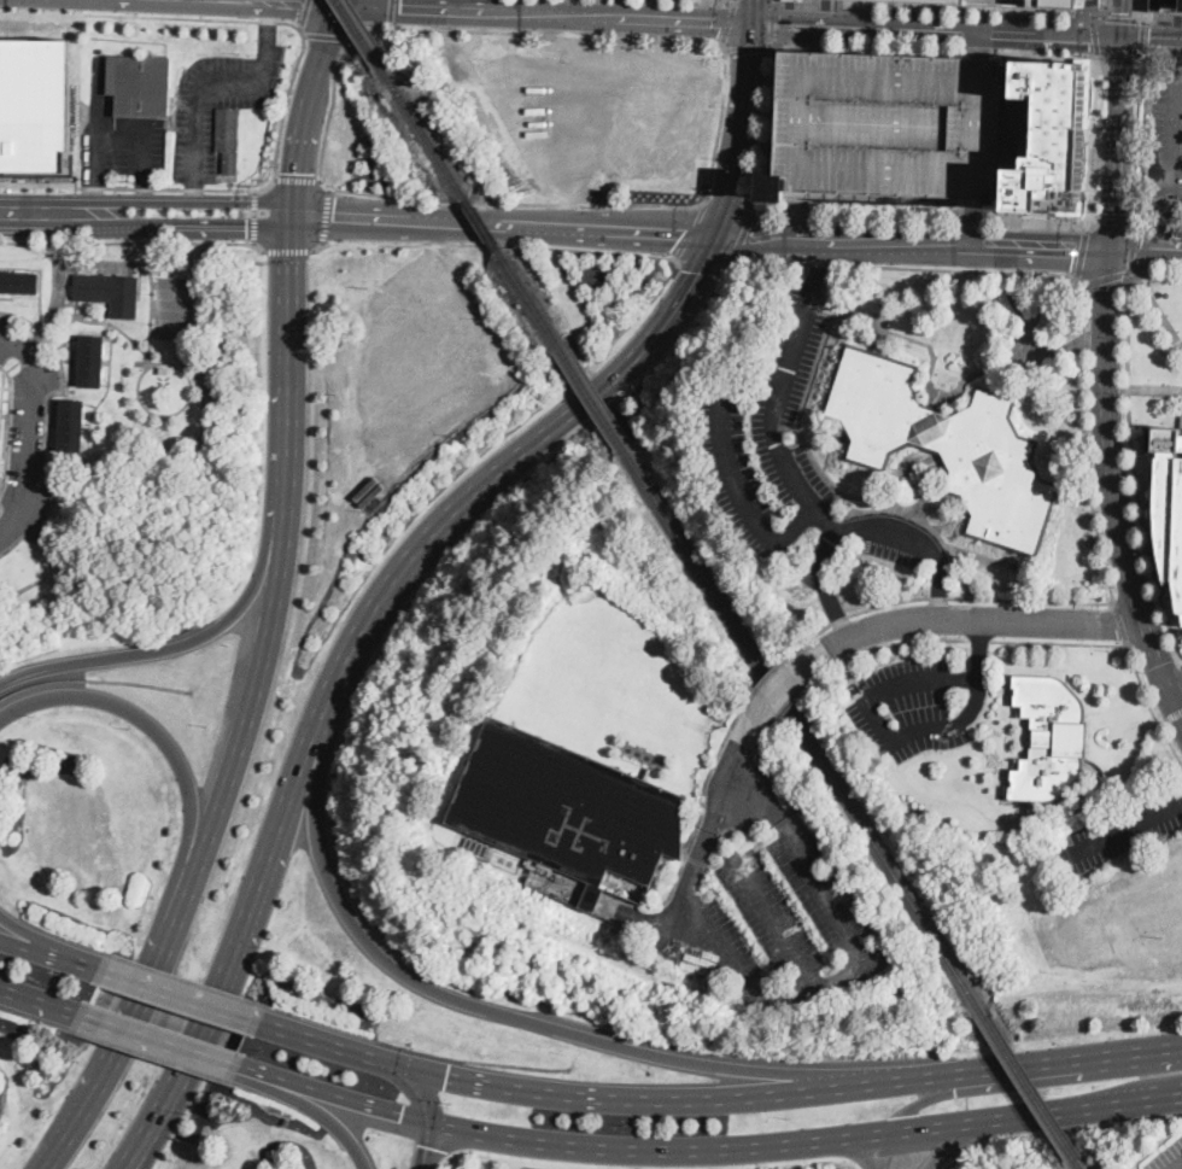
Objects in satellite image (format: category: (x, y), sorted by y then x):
building: (942, 0)
road: (735, 1)
building: (1018, 1)
road: (774, 2)
road: (252, 4)
road: (340, 4)
parking lot: (1165, 4)
building: (1166, 4)
traffic signals: (299, 6)
road: (447, 6)
traffic signals: (399, 10)
road: (941, 10)
road: (1098, 11)
traffic signals: (1124, 11)
road: (753, 12)
road: (1142, 12)
road: (391, 13)
road: (305, 14)
road: (545, 16)
road: (1119, 17)
road: (1157, 18)
road: (1123, 19)
road: (240, 21)
traffic signals: (721, 23)
road: (728, 23)
road: (774, 23)
road: (268, 25)
traffic signals: (780, 25)
road: (532, 31)
road: (937, 31)
railway: (362, 33)
road: (572, 33)
road: (326, 34)
road: (1095, 36)
road: (1142, 37)
traffic signals: (1089, 39)
road: (808, 40)
traffic signals: (1149, 41)
road: (1152, 41)
road: (749, 45)
road: (981, 47)
road: (940, 49)
traffic signals: (751, 51)
road: (1123, 58)
road: (1160, 58)
road: (1177, 72)
road: (203, 81)
building: (140, 86)
road: (727, 86)
road: (98, 92)
parking lot: (218, 103)
building: (35, 106)
parking lot: (590, 109)
road: (328, 111)
road: (305, 112)
road: (719, 121)
road: (768, 122)
road: (117, 128)
road: (743, 129)
railway: (425, 130)
building: (889, 130)
parking lot: (889, 130)
road: (1170, 131)
road: (1136, 136)
building: (228, 138)
building: (1053, 138)
road: (1095, 140)
parking lot: (1165, 141)
road: (1118, 145)
parking lot: (125, 148)
building: (1141, 159)
traffic signals: (297, 171)
road: (297, 179)
road: (128, 186)
road: (1175, 192)
road: (92, 198)
road: (194, 198)
road: (142, 199)
road: (726, 200)
road: (516, 203)
road: (583, 205)
road: (1148, 206)
traffic signals: (1114, 212)
road: (919, 215)
road: (70, 216)
road: (168, 217)
road: (256, 217)
road: (323, 217)
road: (242, 218)
traffic signals: (247, 220)
road: (797, 220)
traffic signals: (333, 221)
road: (1117, 221)
road: (399, 222)
road: (973, 222)
railway: (484, 224)
road: (1157, 226)
road: (613, 227)
road: (1016, 229)
road: (692, 230)
traffic signals: (684, 232)
road: (743, 236)
traffic signals: (750, 236)
road: (497, 242)
road: (135, 244)
road: (914, 244)
road: (1134, 245)
traffic signals: (1141, 249)
road: (1146, 249)
road: (293, 252)
traffic signals: (1075, 252)
road: (1082, 253)
road: (703, 261)
road: (905, 265)
traffic signals: (700, 271)
road: (1154, 274)
road: (1107, 279)
building: (19, 282)
building: (110, 292)
park: (174, 293)
railway: (532, 298)
road: (1155, 306)
park: (172, 323)
parking lot: (5, 339)
road: (292, 351)
parking lot: (426, 357)
building: (92, 361)
building: (164, 369)
parking lot: (786, 375)
road: (1154, 391)
railway: (593, 396)
building: (71, 426)
road: (45, 428)
building: (164, 431)
road: (30, 433)
road: (1084, 438)
parking lot: (27, 444)
building: (947, 445)
building: (206, 450)
road: (1135, 468)
road: (502, 469)
road: (791, 473)
building: (80, 484)
parking lot: (745, 485)
building: (374, 486)
road: (1113, 487)
road: (749, 499)
building: (1169, 502)
road: (823, 585)
road: (961, 596)
road: (985, 621)
road: (1119, 623)
road: (979, 638)
road: (191, 641)
road: (1059, 642)
road: (896, 643)
road: (776, 665)
road: (785, 677)
road: (1176, 686)
road: (790, 700)
road: (251, 705)
parking lot: (917, 705)
road: (1151, 705)
road: (133, 712)
road: (1170, 719)
railway: (806, 729)
road: (893, 737)
building: (1051, 738)
road: (739, 754)
building: (648, 772)
road: (703, 803)
building: (567, 809)
road: (1125, 826)
parking lot: (1119, 830)
road: (185, 876)
building: (538, 882)
building: (555, 890)
parking lot: (1145, 912)
parking lot: (771, 923)
road: (236, 939)
road: (49, 940)
road: (722, 945)
road: (48, 953)
road: (842, 974)
road: (179, 995)
road: (40, 999)
road: (142, 1009)
road: (497, 1010)
road: (159, 1040)
road: (1023, 1066)
traffic signals: (447, 1079)
road: (414, 1085)
railway: (1032, 1086)
road: (556, 1095)
road: (333, 1097)
road: (919, 1101)
road: (311, 1106)
traffic signals: (402, 1116)
road: (71, 1130)
road: (1061, 1130)
road: (806, 1142)
road: (956, 1144)
traffic signals: (427, 1145)
road: (426, 1146)
road: (129, 1153)
road: (140, 1153)
parking lot: (1168, 1157)
railway: (1082, 1164)
road: (1177, 1165)

